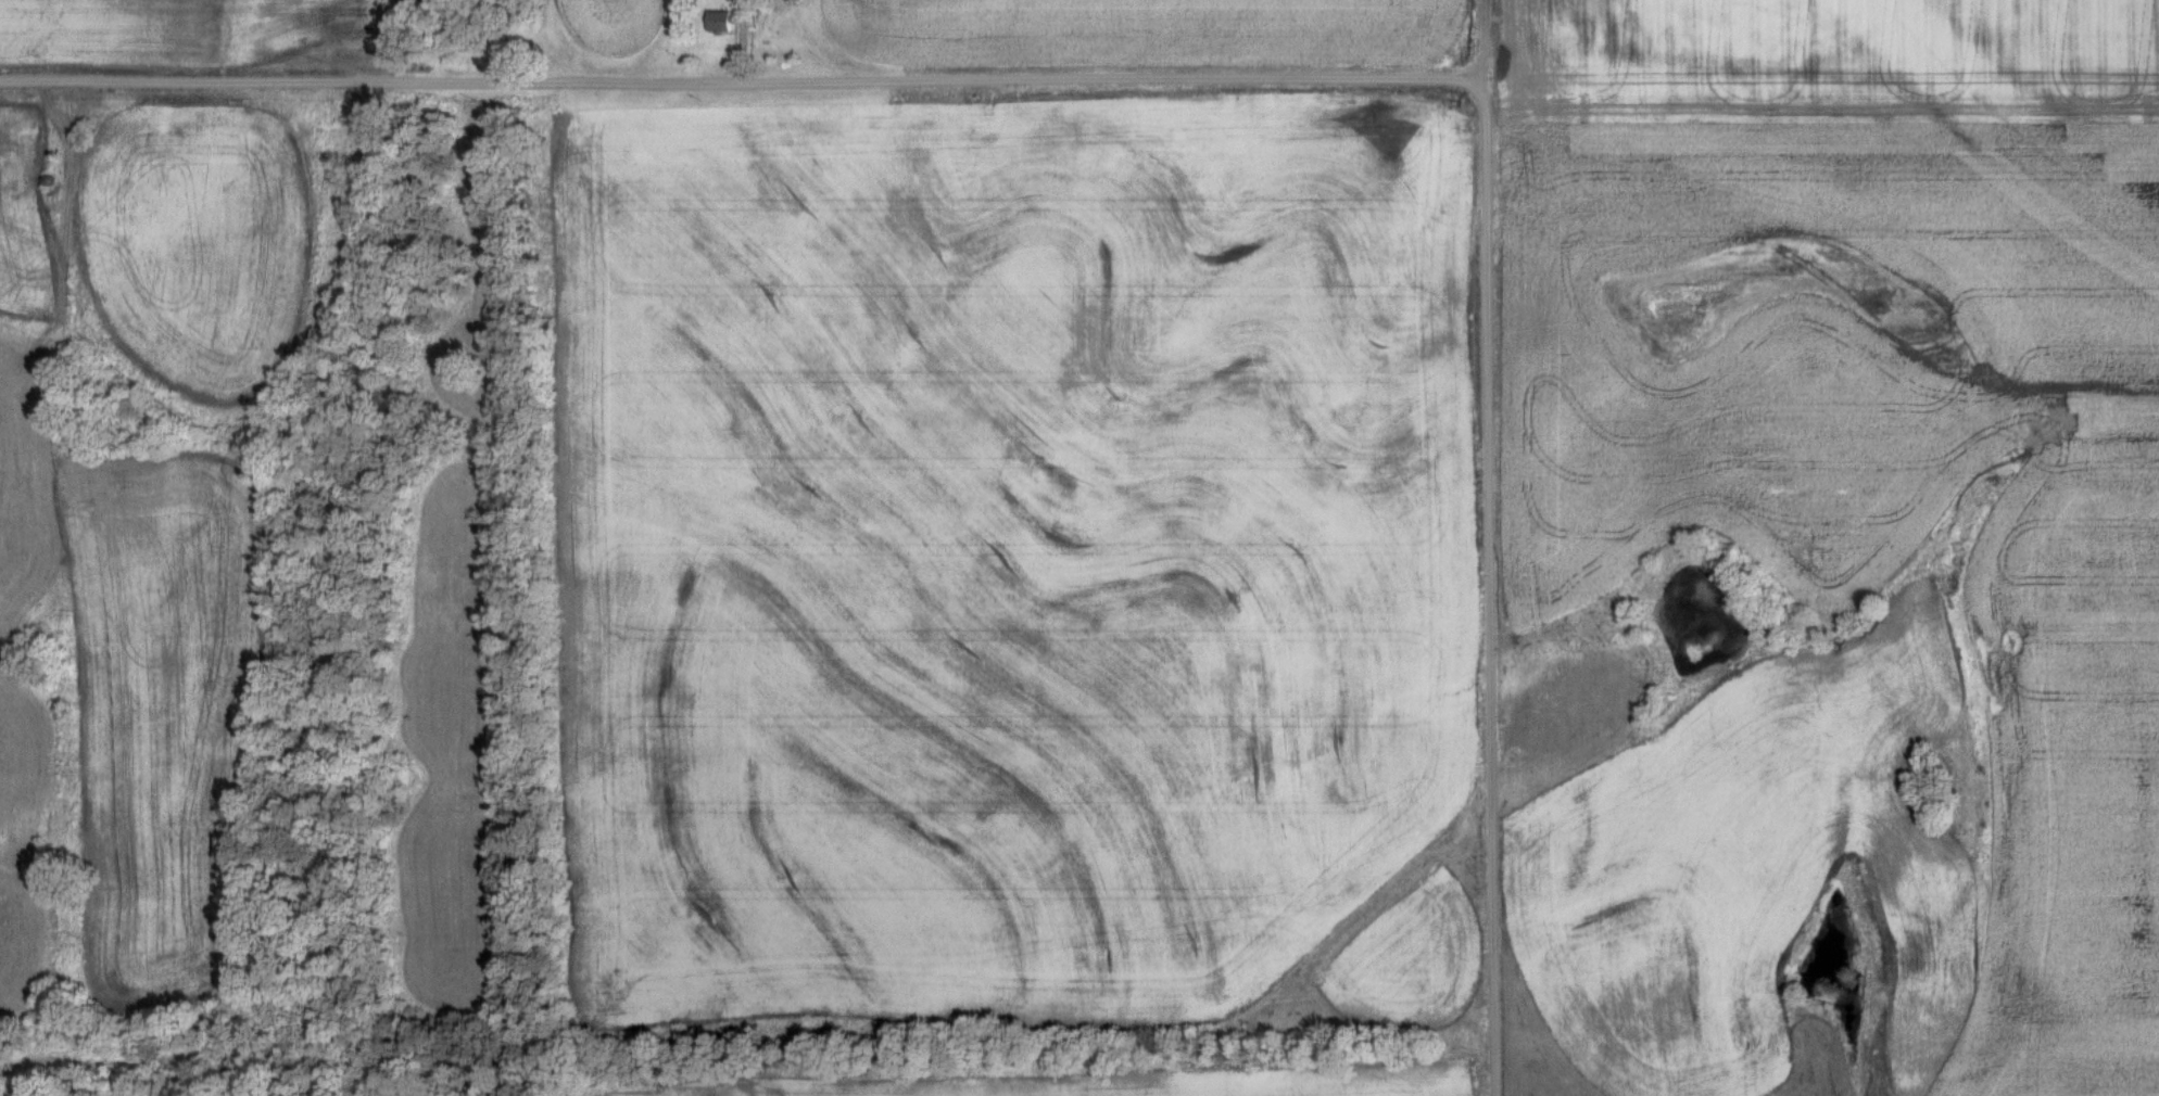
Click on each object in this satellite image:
building: (720, 21)
road: (734, 78)
road: (1487, 586)

